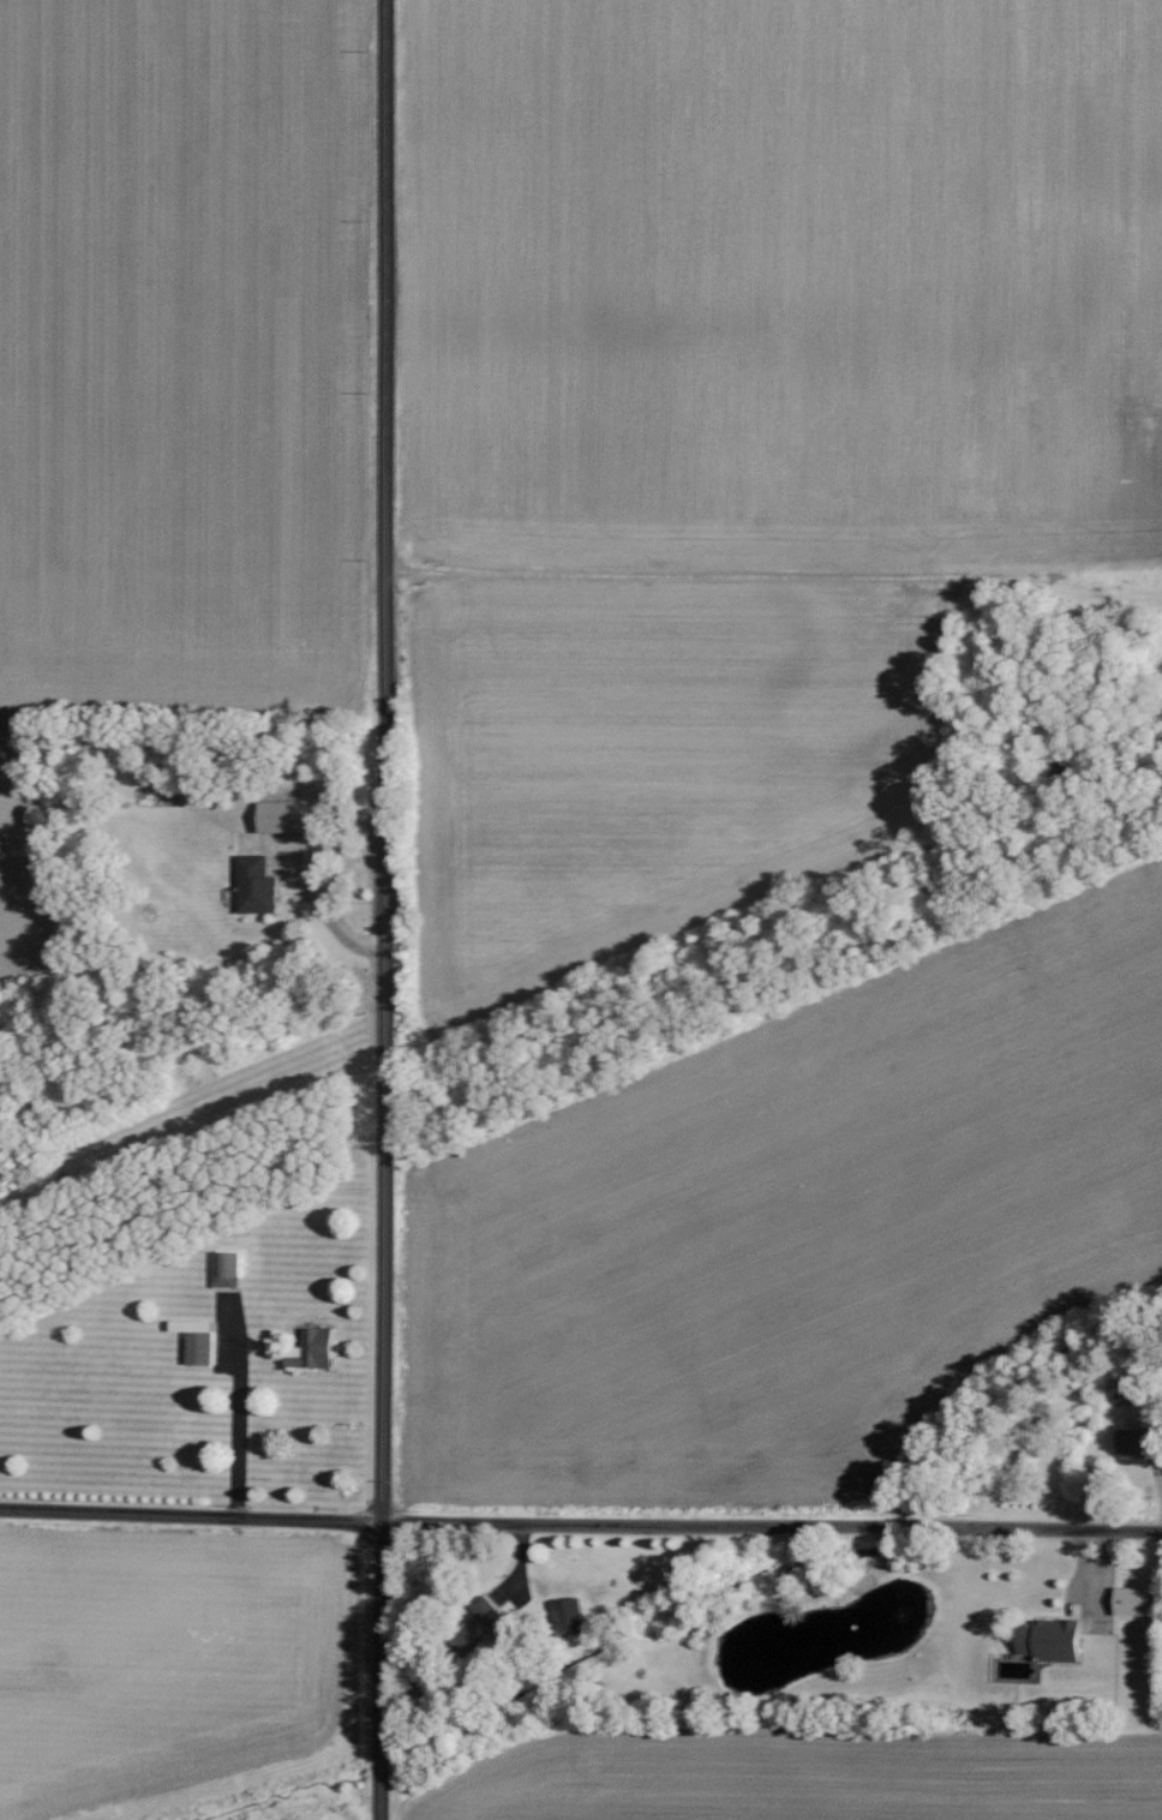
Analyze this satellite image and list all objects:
building: (287, 816)
building: (256, 885)
road: (385, 910)
road: (323, 911)
building: (228, 1269)
building: (199, 1340)
building: (316, 1349)
road: (238, 1418)
building: (1140, 1442)
road: (580, 1521)
building: (1134, 1602)
building: (573, 1616)
building: (485, 1622)
building: (1053, 1640)

